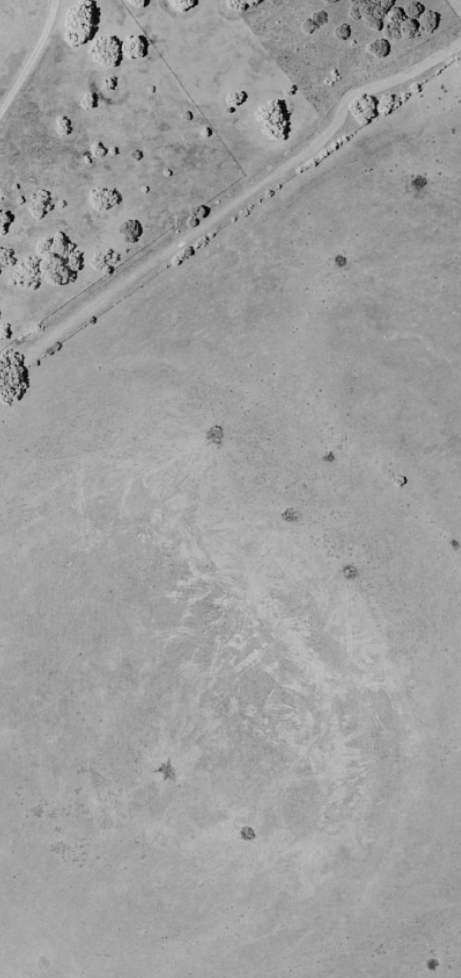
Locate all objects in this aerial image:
road: (34, 60)

